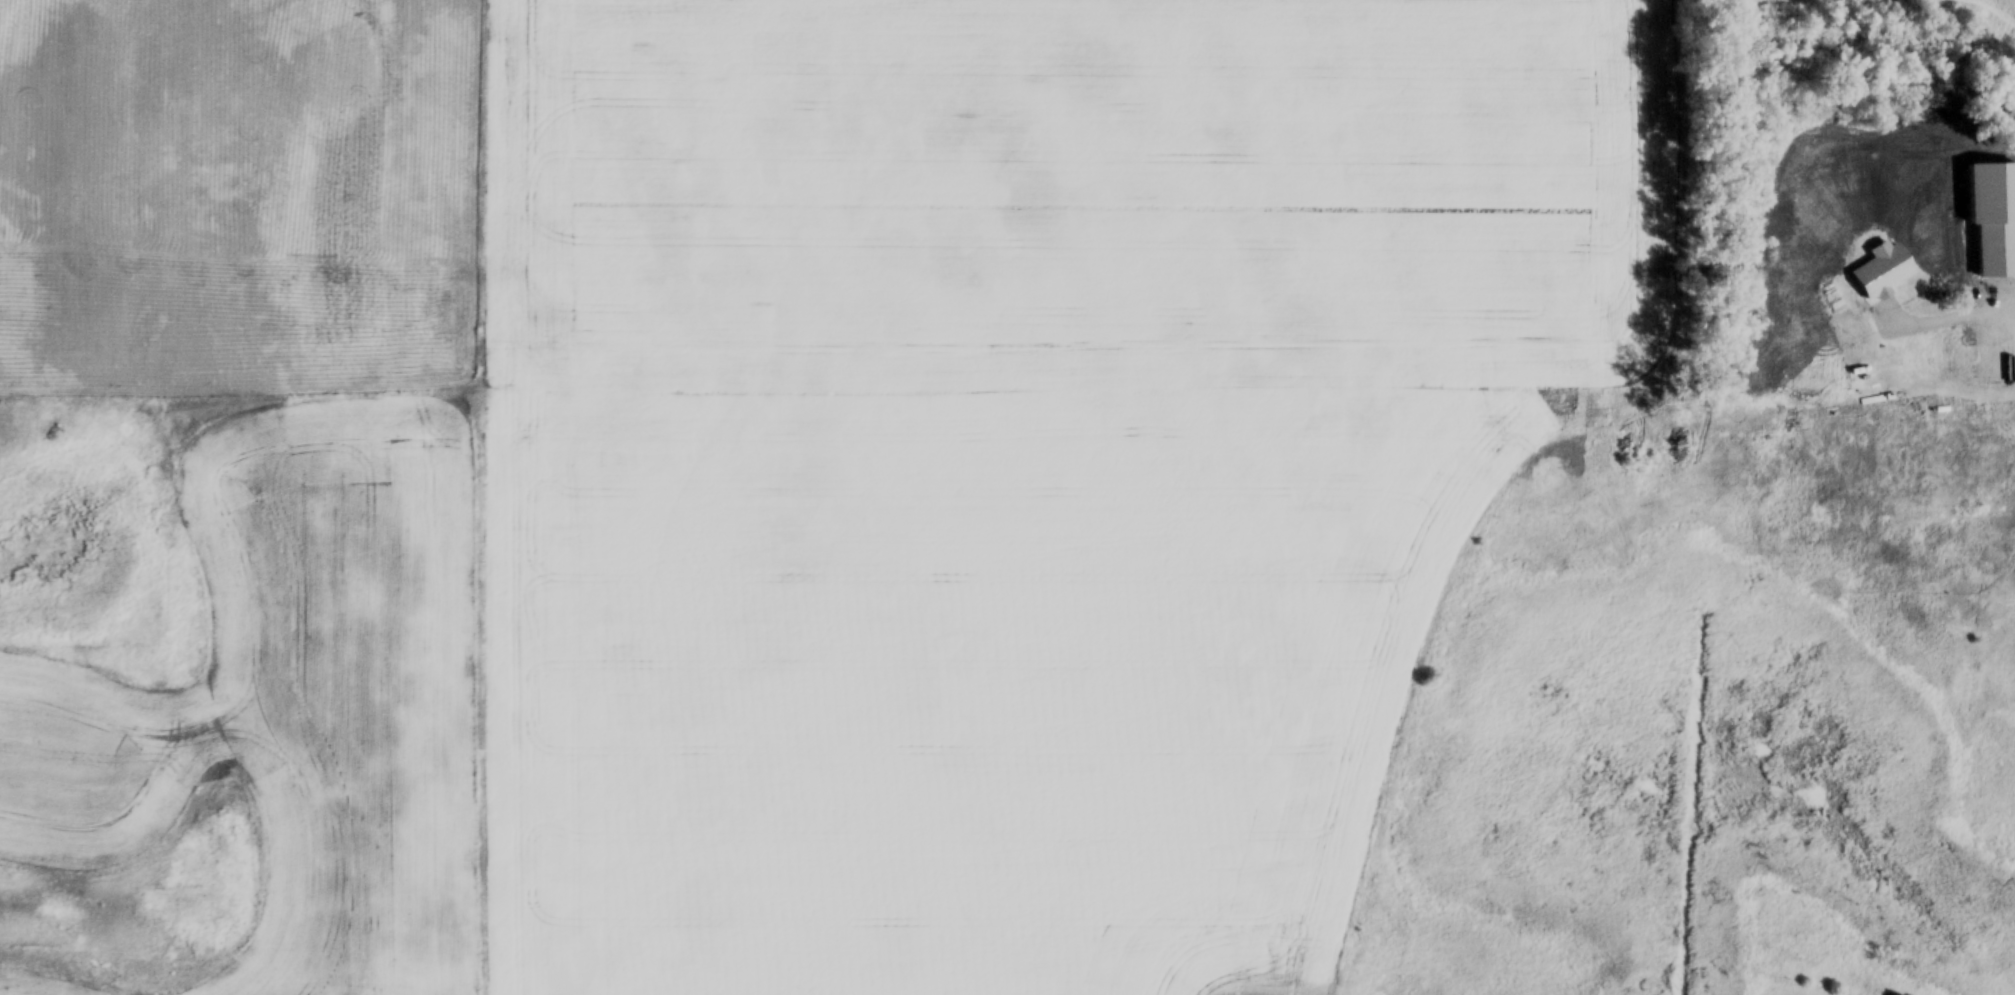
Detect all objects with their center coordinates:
building: (1982, 250)
road: (2013, 304)

